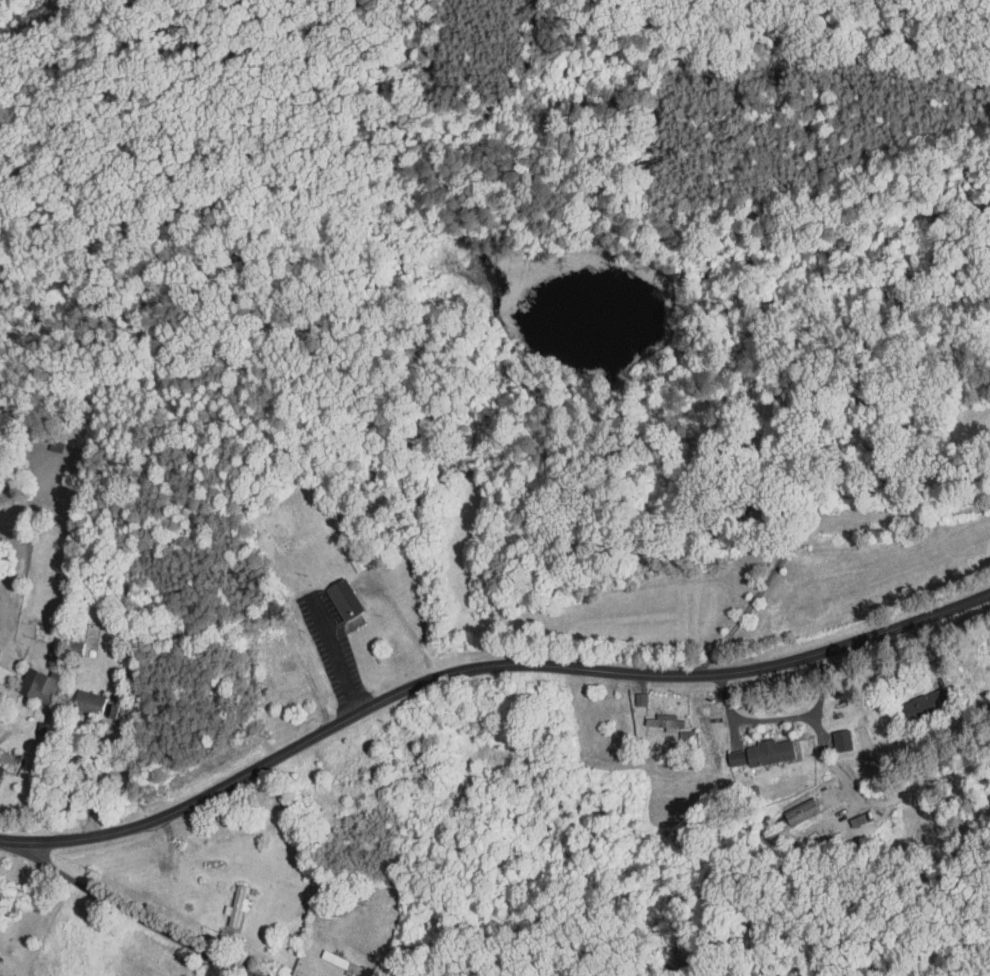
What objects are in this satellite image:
road: (786, 548)
building: (331, 593)
building: (62, 641)
road: (333, 655)
road: (481, 667)
building: (25, 679)
building: (73, 695)
building: (912, 698)
building: (653, 716)
road: (800, 716)
building: (829, 734)
building: (756, 746)
building: (724, 752)
road: (96, 780)
building: (788, 805)
building: (223, 900)
road: (125, 907)

